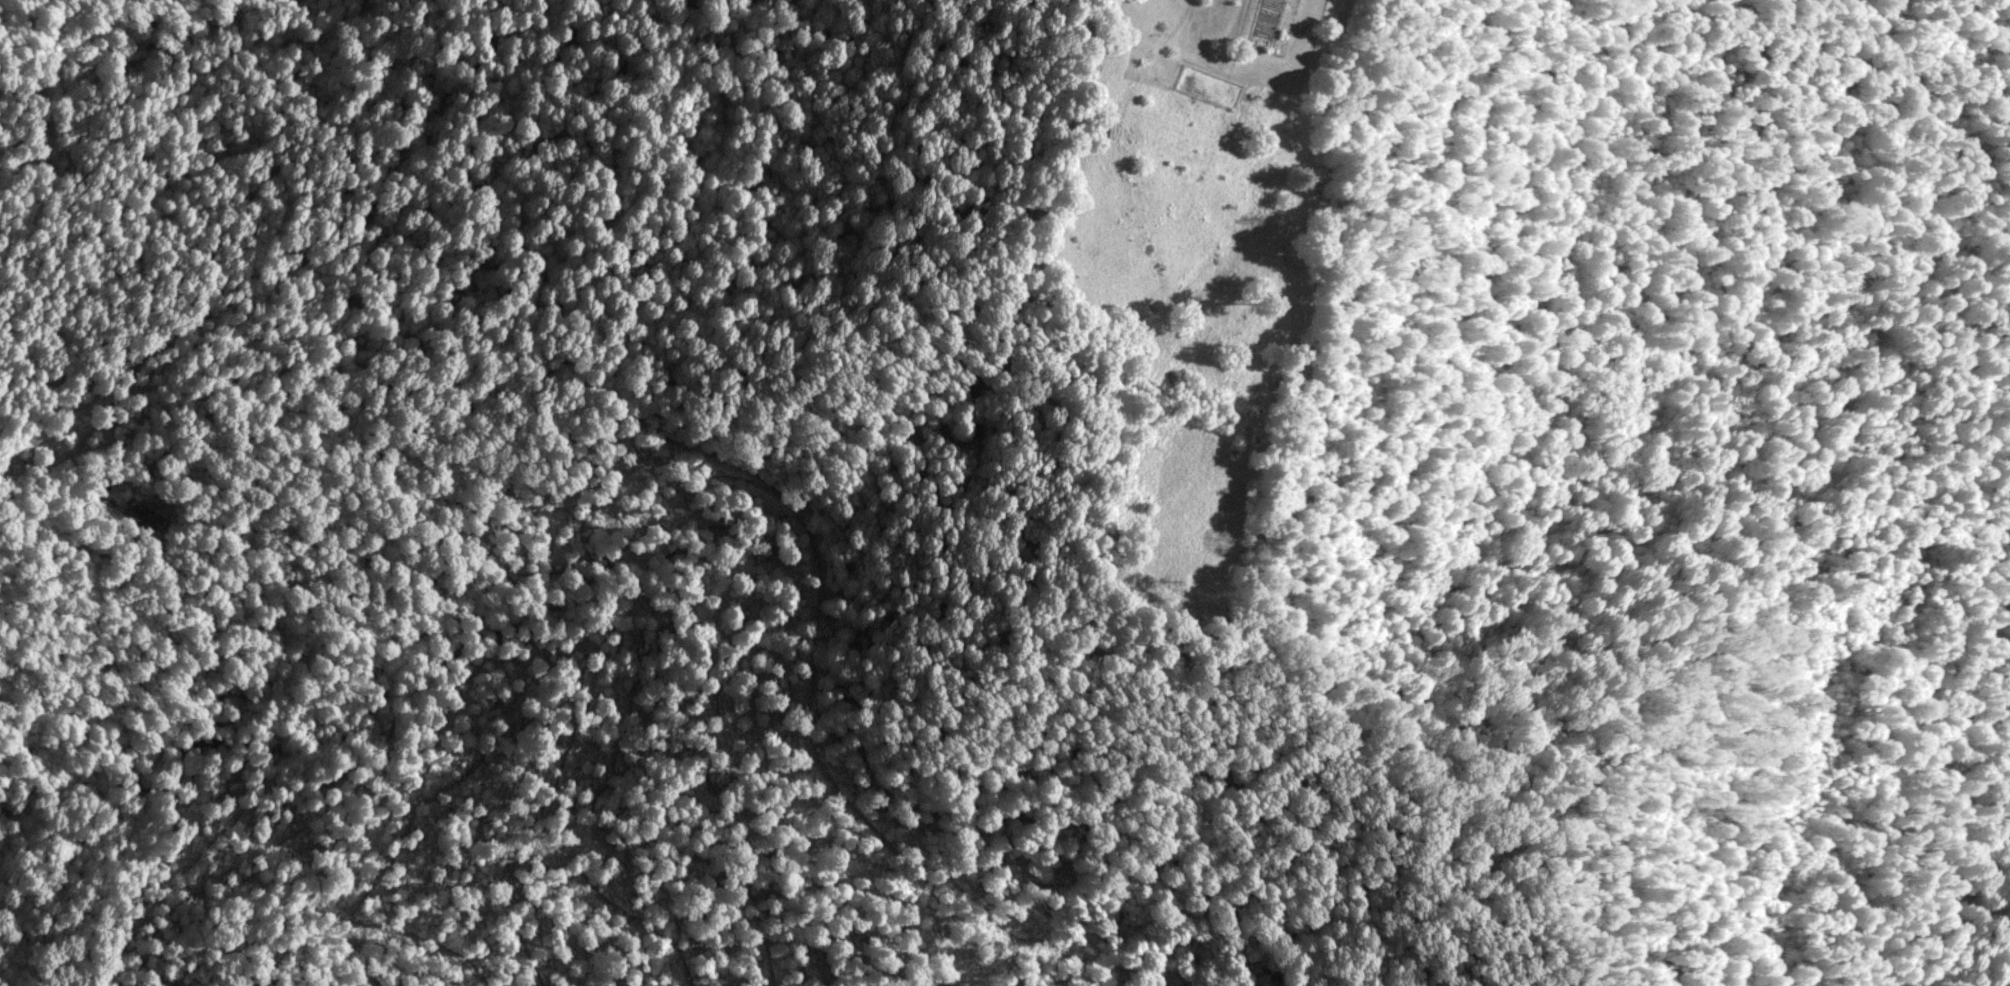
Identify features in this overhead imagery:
road: (1251, 547)

